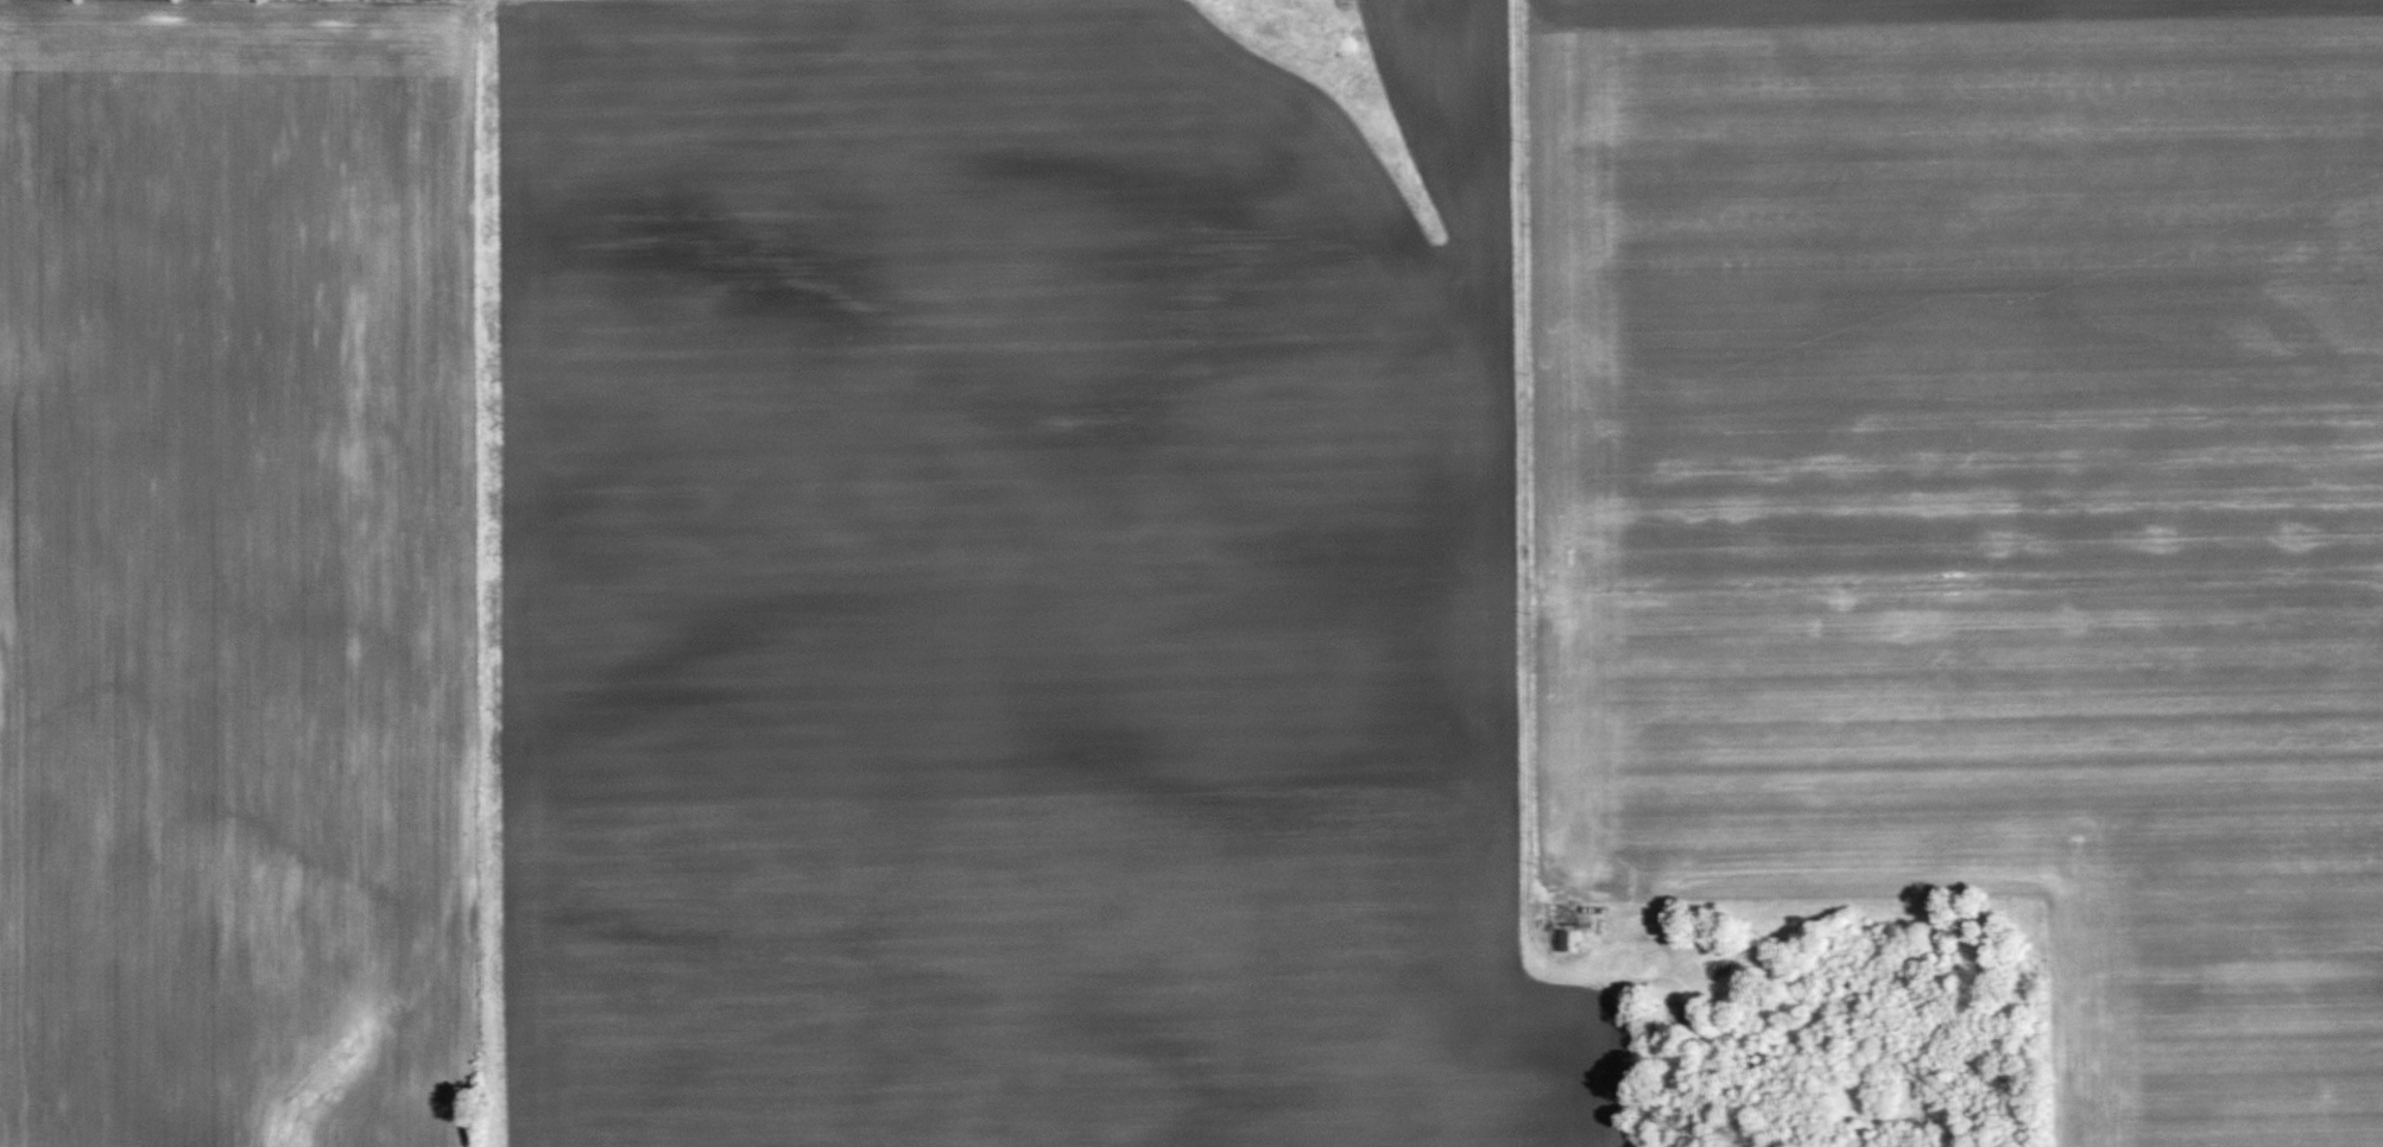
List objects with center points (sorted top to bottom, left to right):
road: (1530, 413)

